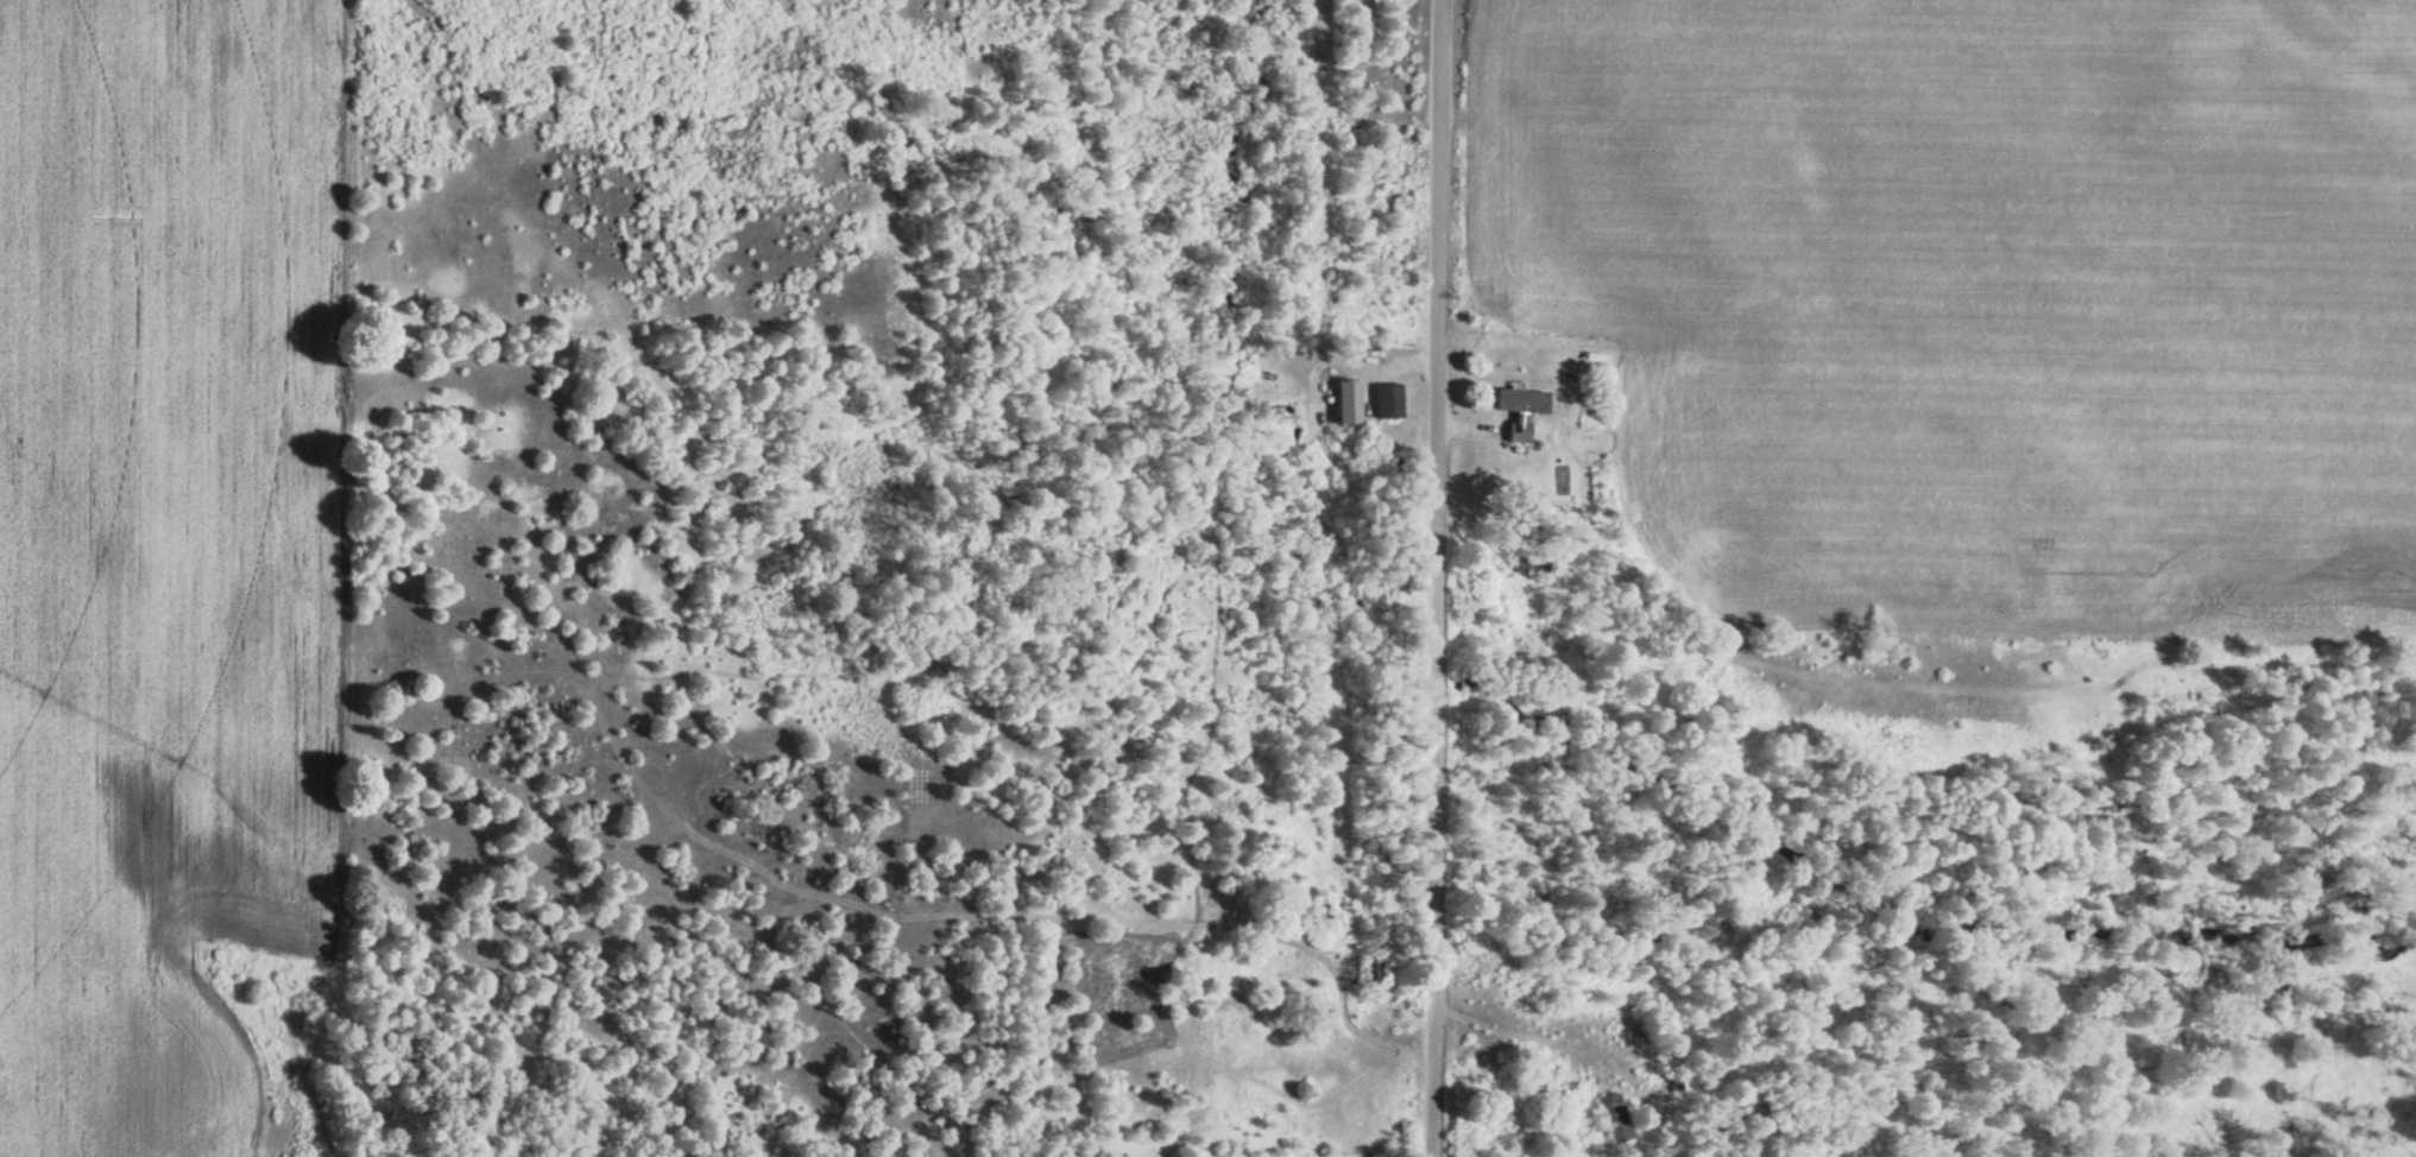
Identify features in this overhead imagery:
building: (1384, 403)
building: (1344, 404)
building: (1519, 411)
crop: (164, 548)
building: (1525, 564)
road: (1436, 577)
building: (1365, 975)
building: (1615, 1120)

